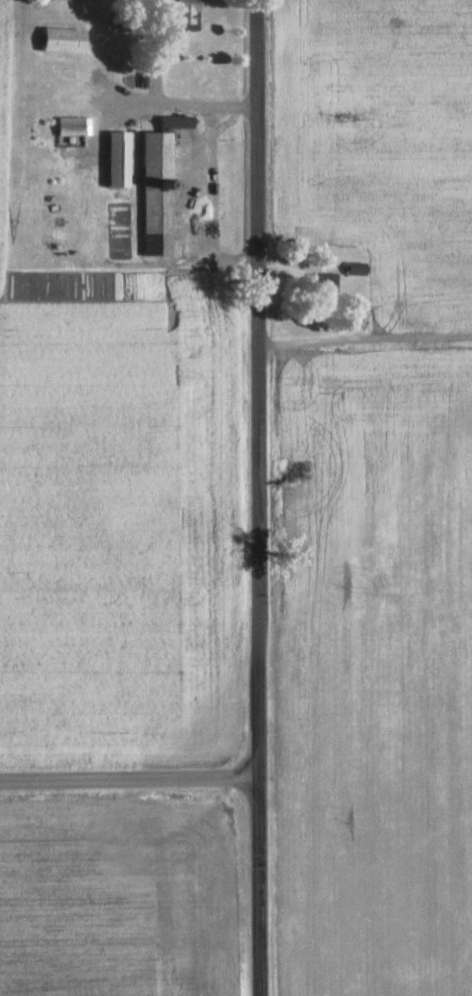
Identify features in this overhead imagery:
building: (182, 16)
building: (63, 43)
building: (176, 124)
building: (70, 129)
building: (118, 162)
building: (157, 197)
building: (354, 271)
building: (322, 286)
road: (255, 497)
road: (129, 779)

